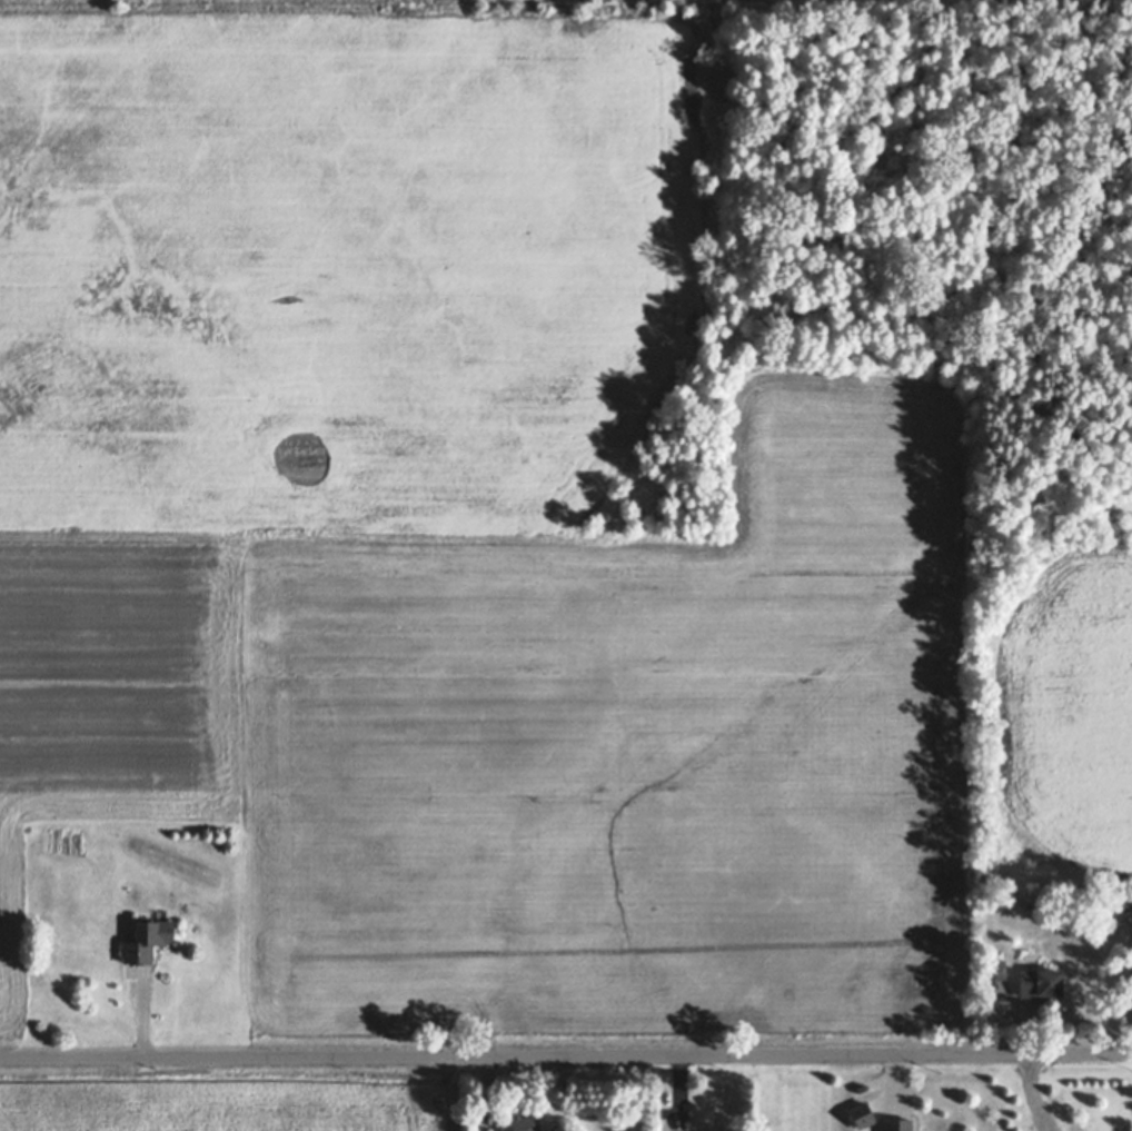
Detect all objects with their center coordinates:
building: (113, 844)
building: (1125, 906)
building: (152, 937)
building: (994, 969)
building: (1040, 983)
road: (566, 1059)
building: (860, 1113)
building: (526, 1124)
building: (895, 1124)

